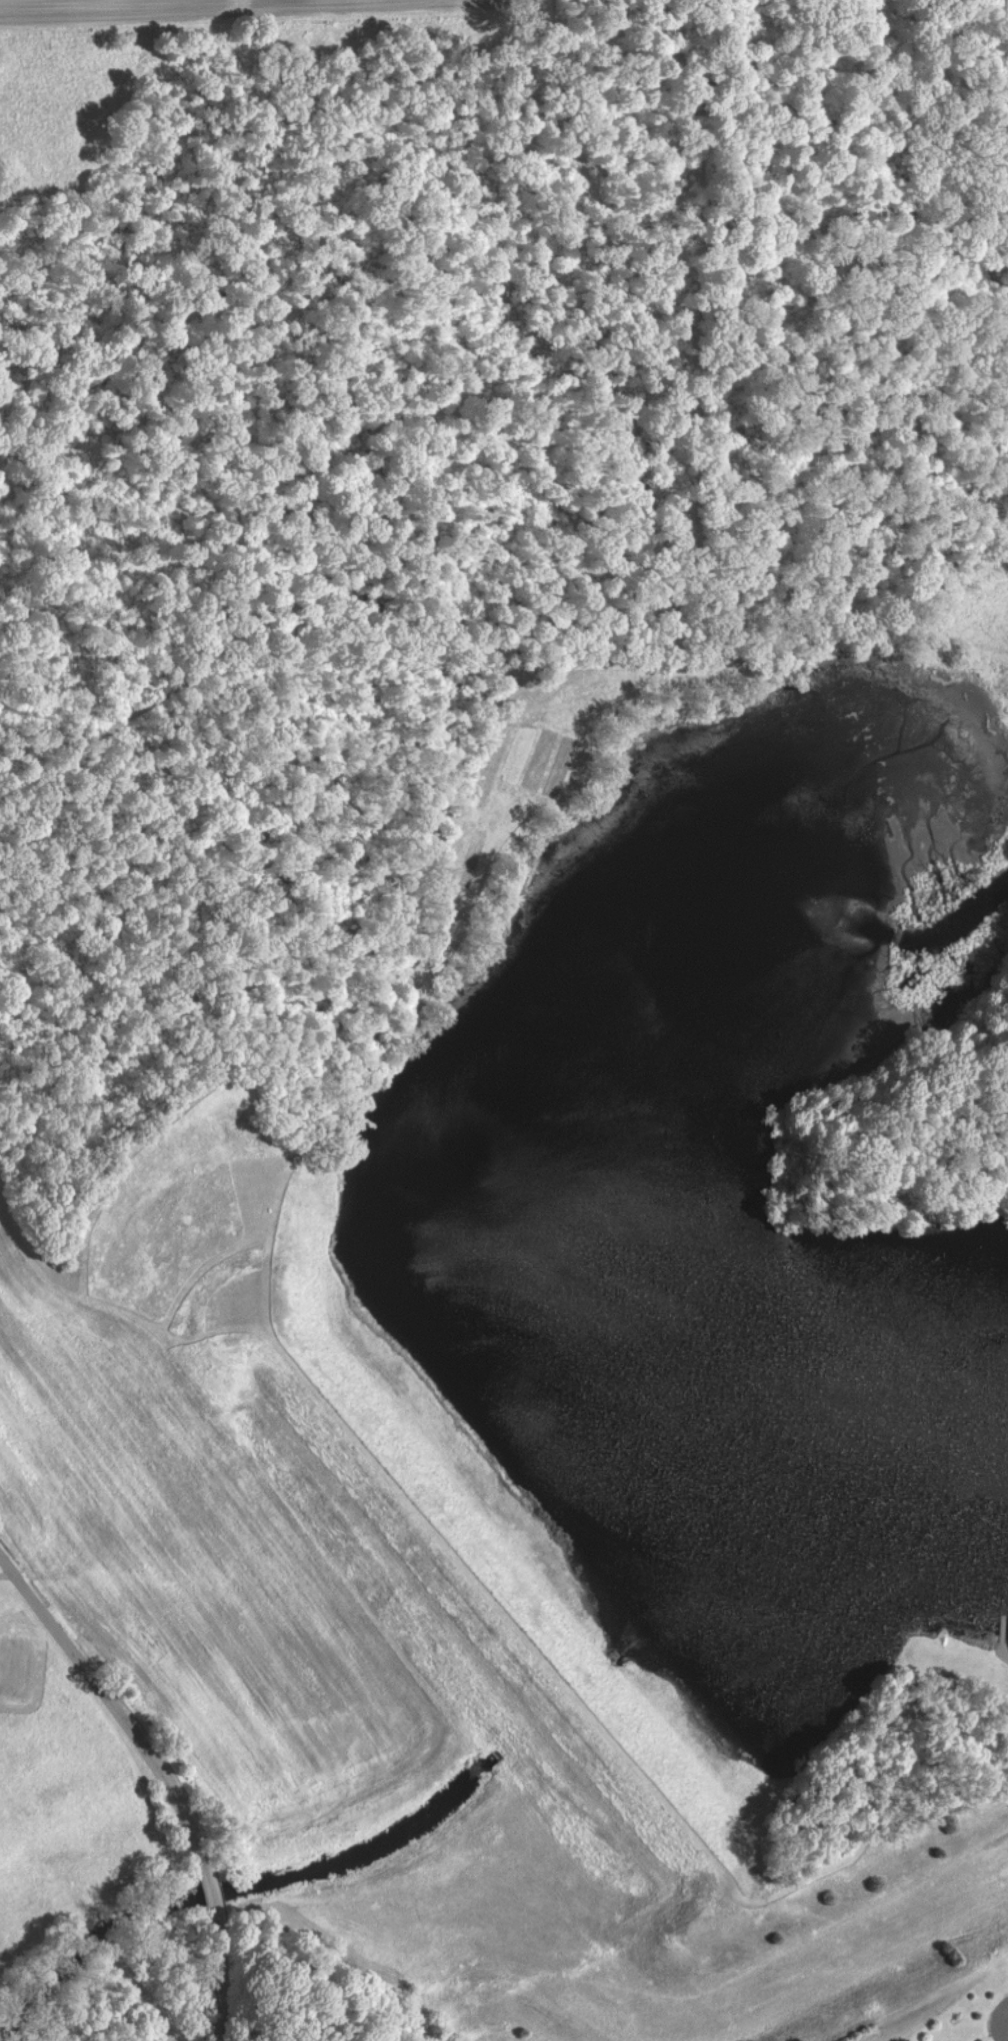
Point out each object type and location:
road: (165, 1779)

